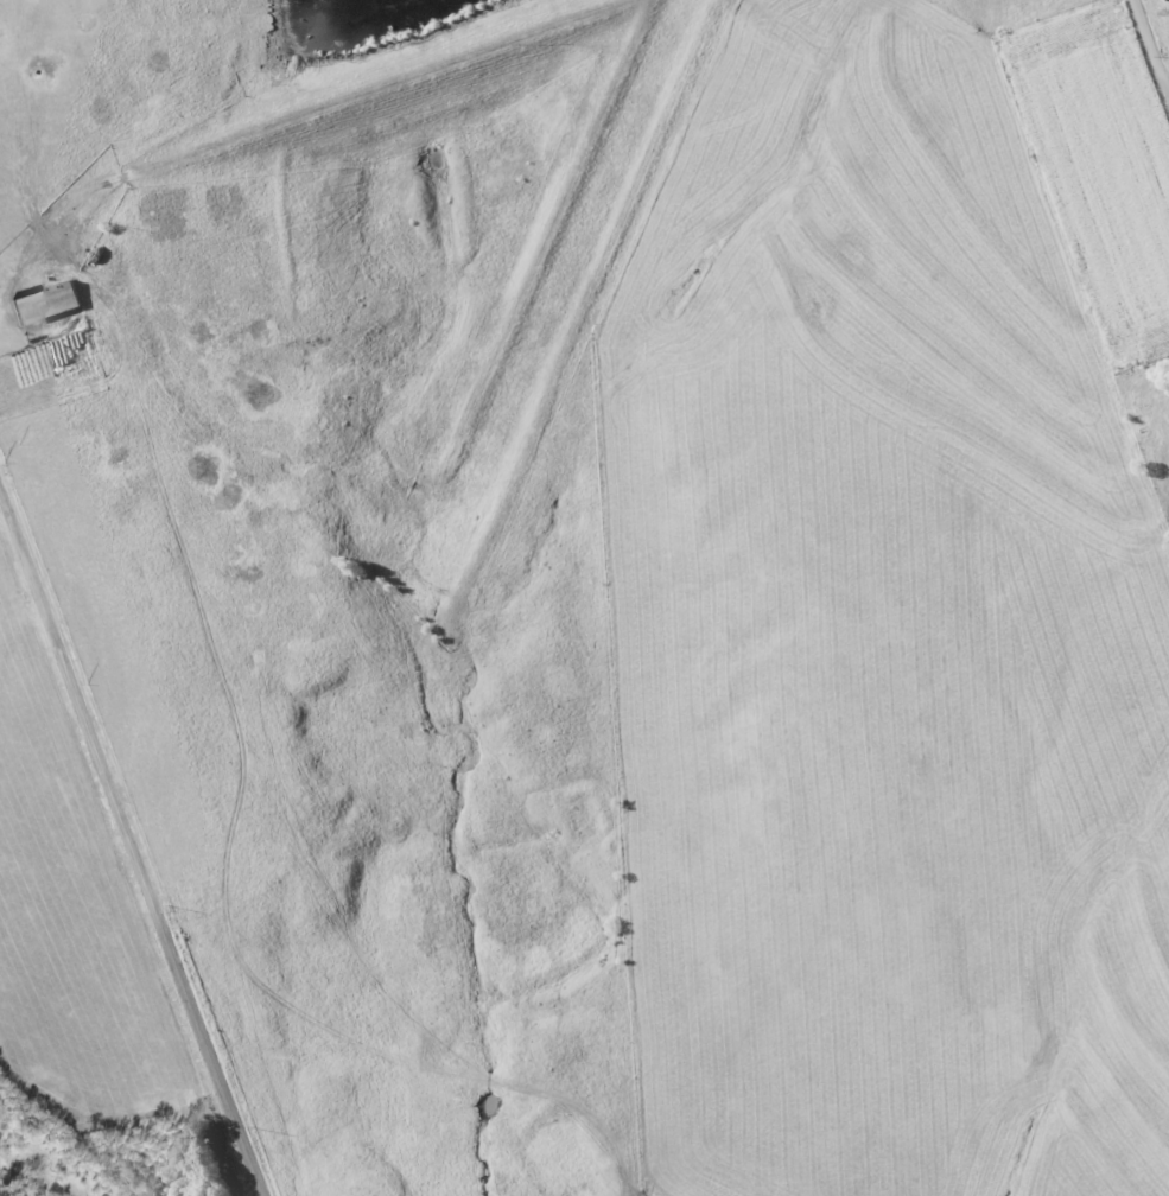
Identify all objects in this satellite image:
road: (1149, 44)
dam: (320, 68)
road: (132, 841)

